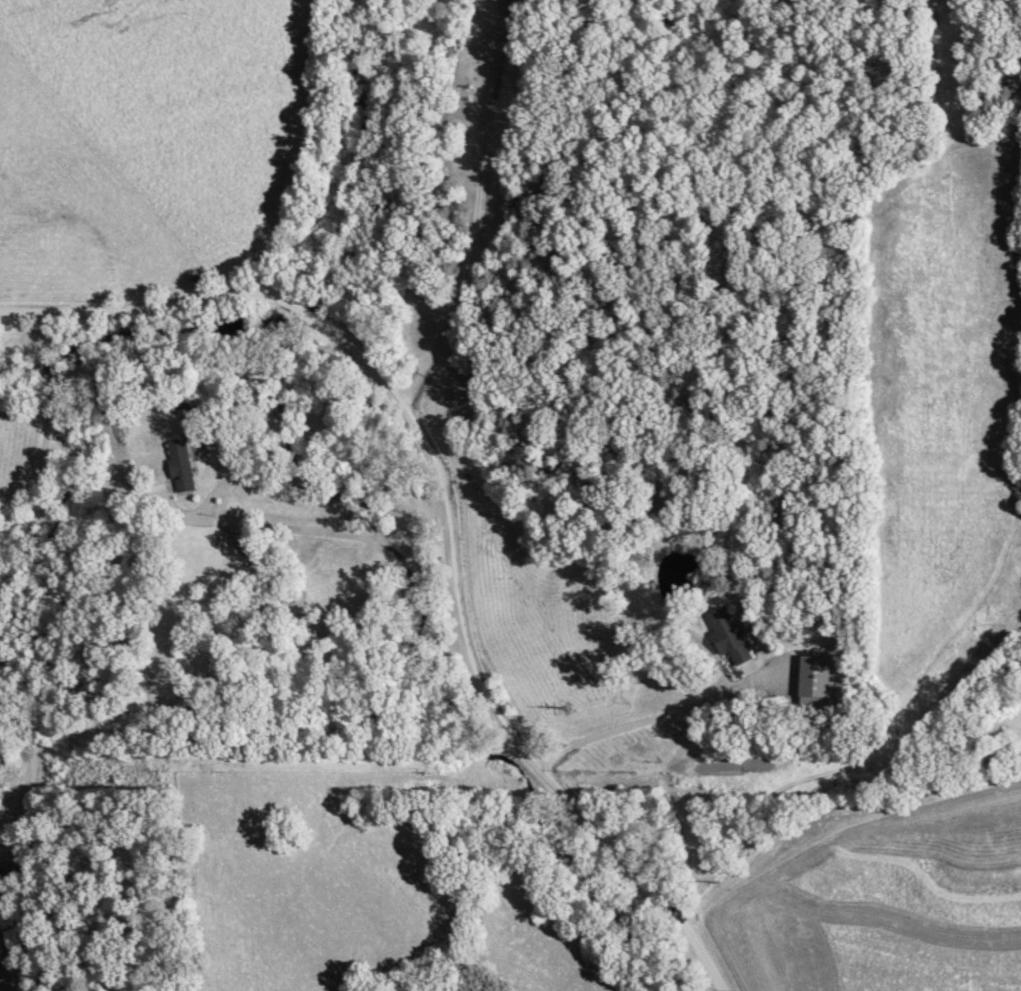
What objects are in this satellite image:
road: (478, 208)
road: (26, 415)
building: (179, 468)
road: (34, 510)
road: (450, 516)
road: (226, 524)
building: (723, 637)
road: (634, 727)
road: (837, 810)
building: (6, 894)

